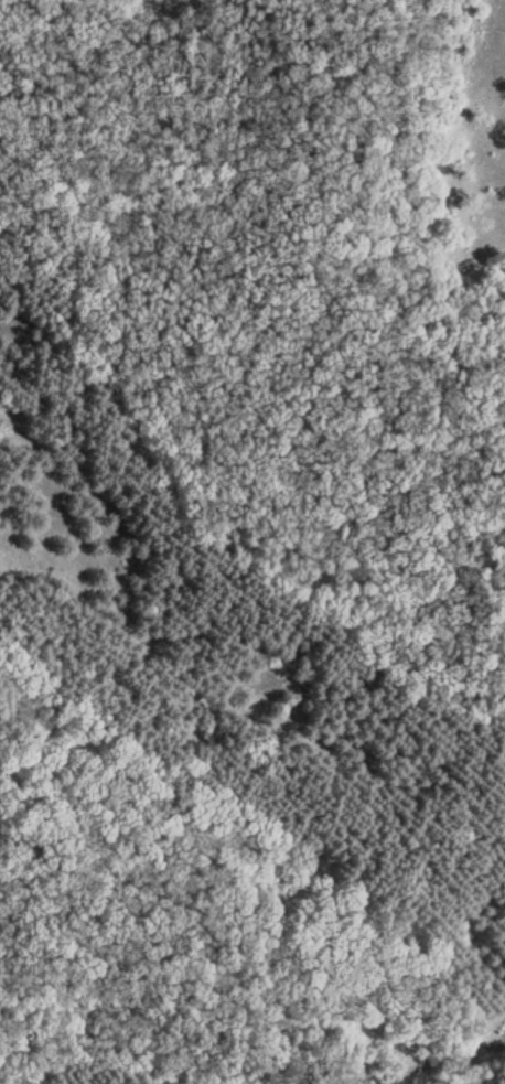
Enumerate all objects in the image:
road: (378, 1039)

